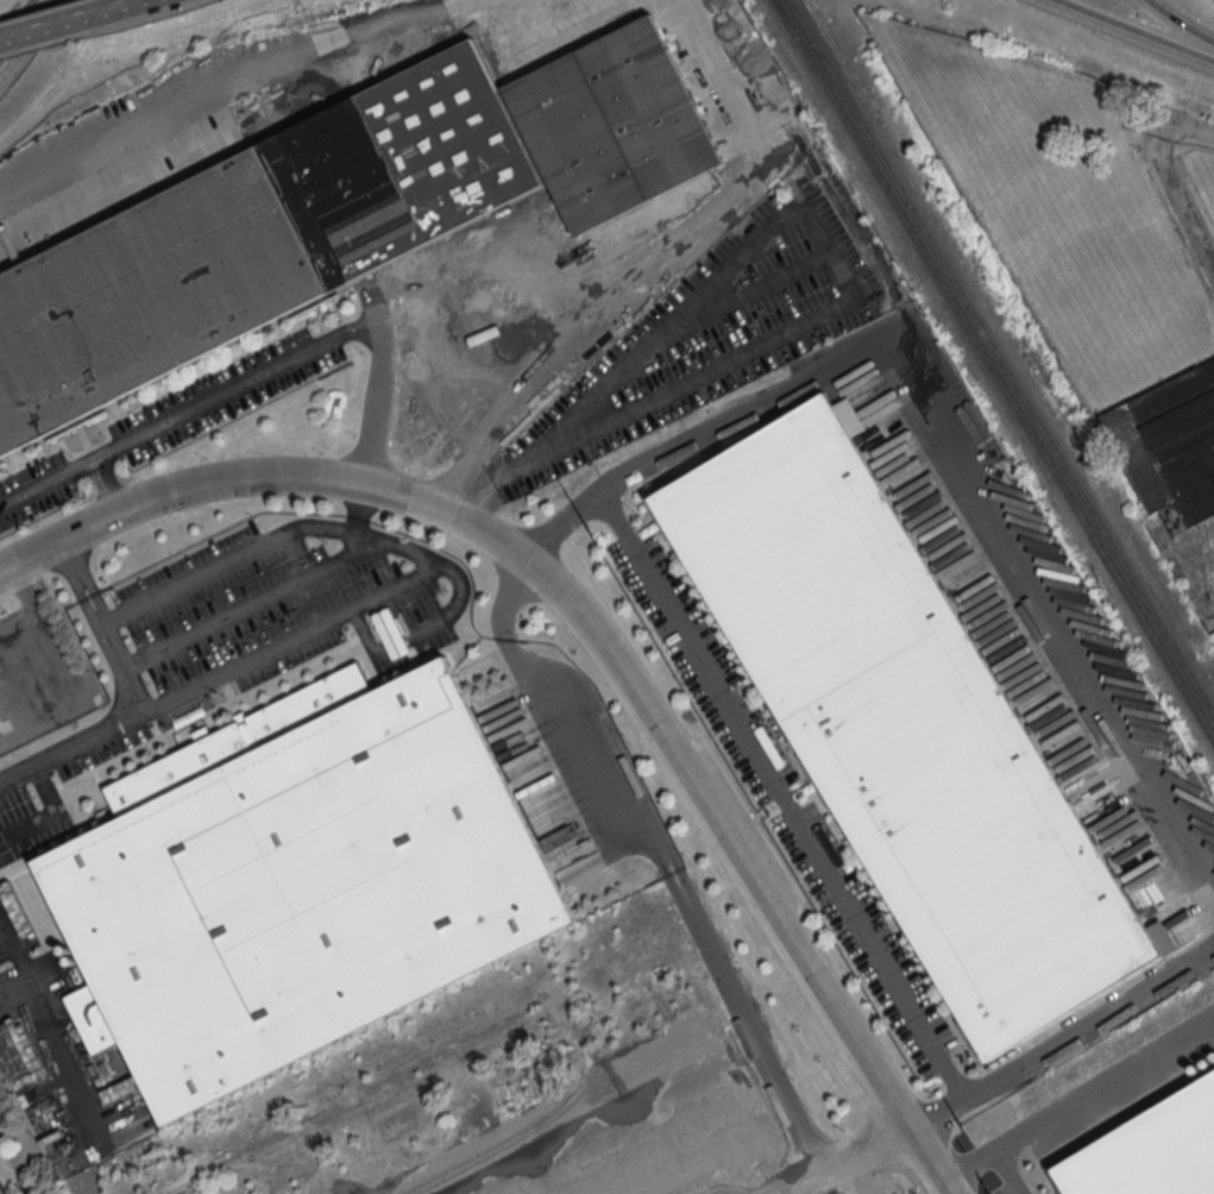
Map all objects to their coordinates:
road: (117, 6)
road: (13, 17)
road: (1177, 24)
road: (49, 25)
road: (376, 29)
road: (1130, 32)
road: (29, 37)
road: (644, 89)
road: (597, 101)
building: (611, 120)
road: (127, 125)
road: (1185, 128)
building: (413, 155)
road: (667, 156)
road: (1184, 174)
road: (1180, 206)
road: (596, 239)
road: (868, 240)
road: (835, 268)
building: (146, 295)
parking lot: (713, 331)
road: (640, 339)
road: (526, 340)
railway: (1000, 356)
railway: (993, 366)
road: (687, 373)
road: (188, 410)
building: (1170, 442)
road: (952, 460)
road: (106, 484)
road: (483, 494)
road: (359, 507)
road: (363, 535)
road: (553, 535)
road: (251, 605)
road: (597, 630)
road: (295, 639)
road: (140, 699)
building: (0, 718)
building: (906, 725)
road: (782, 794)
road: (630, 809)
road: (54, 817)
building: (300, 880)
road: (11, 938)
road: (1063, 1041)
road: (663, 1087)
road: (1078, 1102)
road: (696, 1130)
building: (1151, 1150)
road: (854, 1155)
road: (583, 1164)
road: (1008, 1173)

